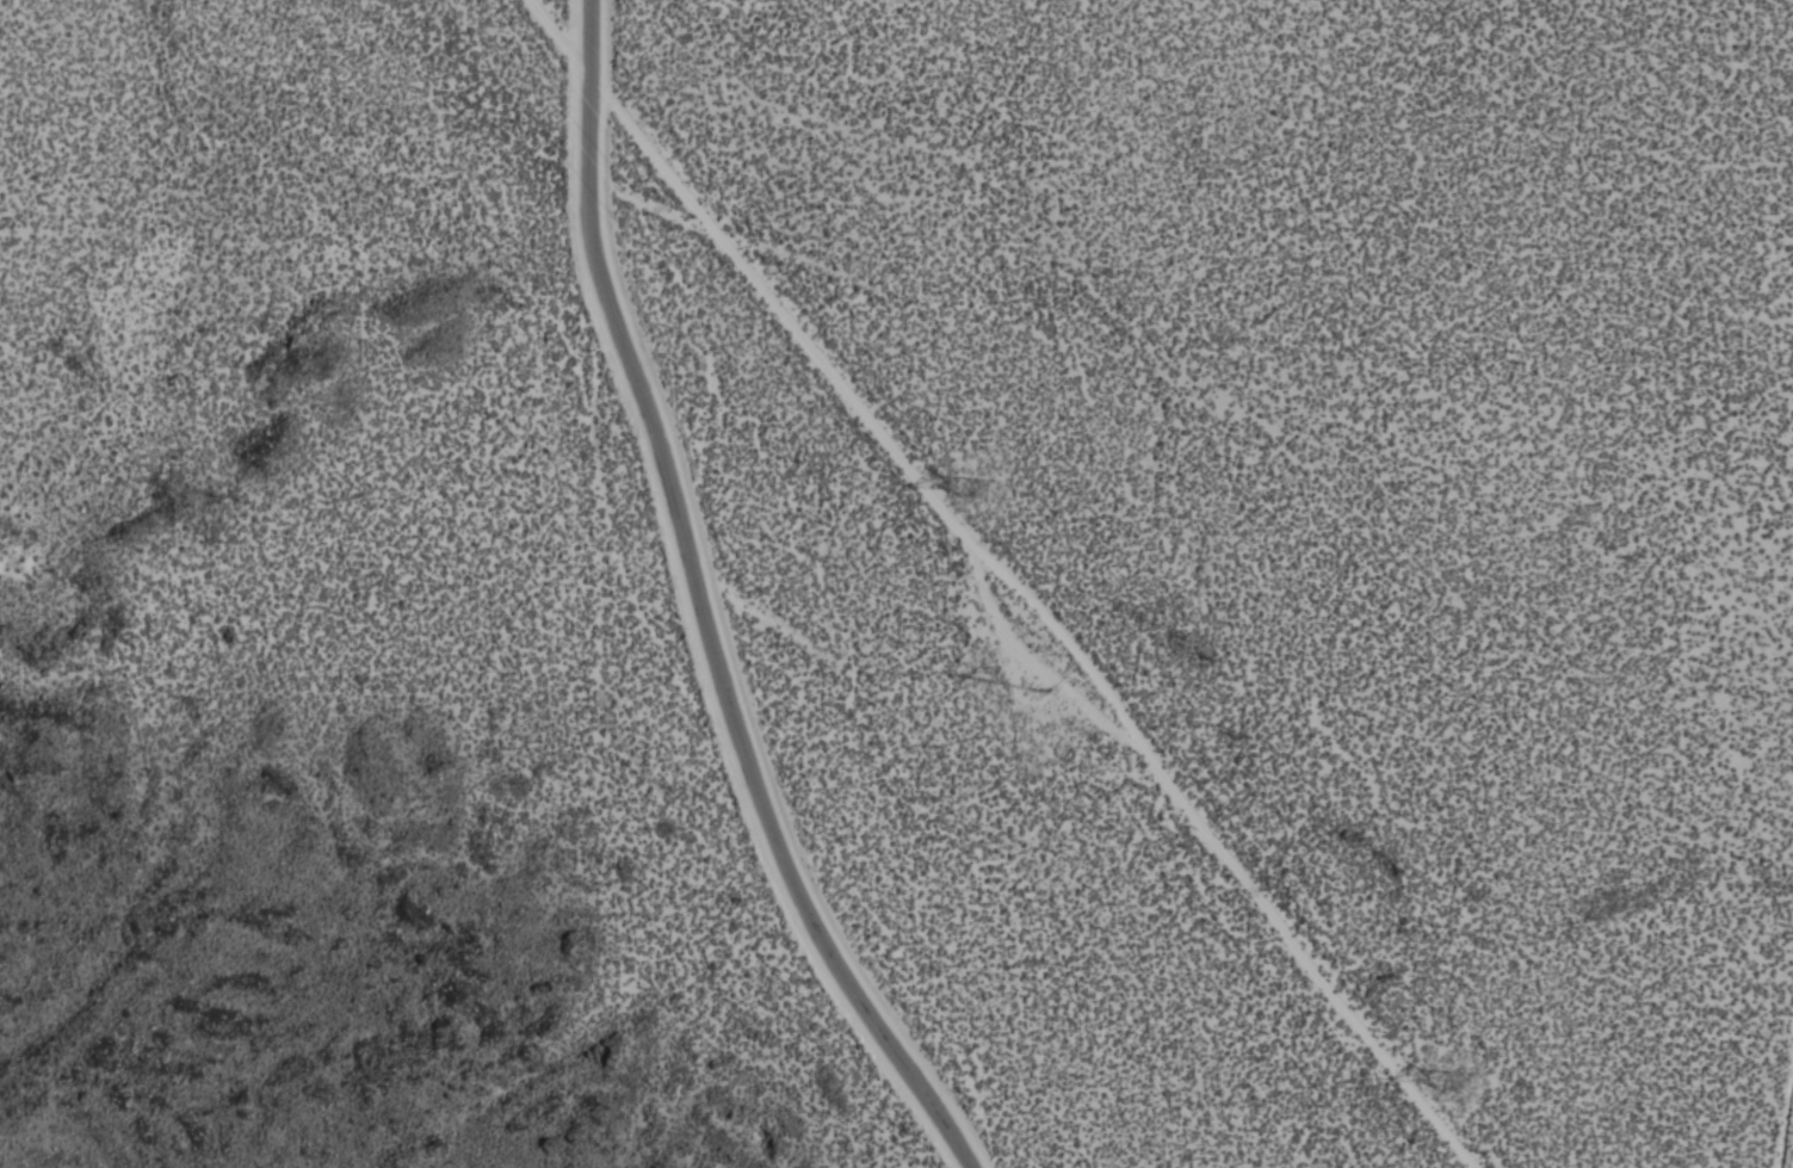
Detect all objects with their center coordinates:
power tower: (971, 476)
road: (1009, 580)
road: (711, 607)
power tower: (1057, 718)
power tower: (1439, 1061)

